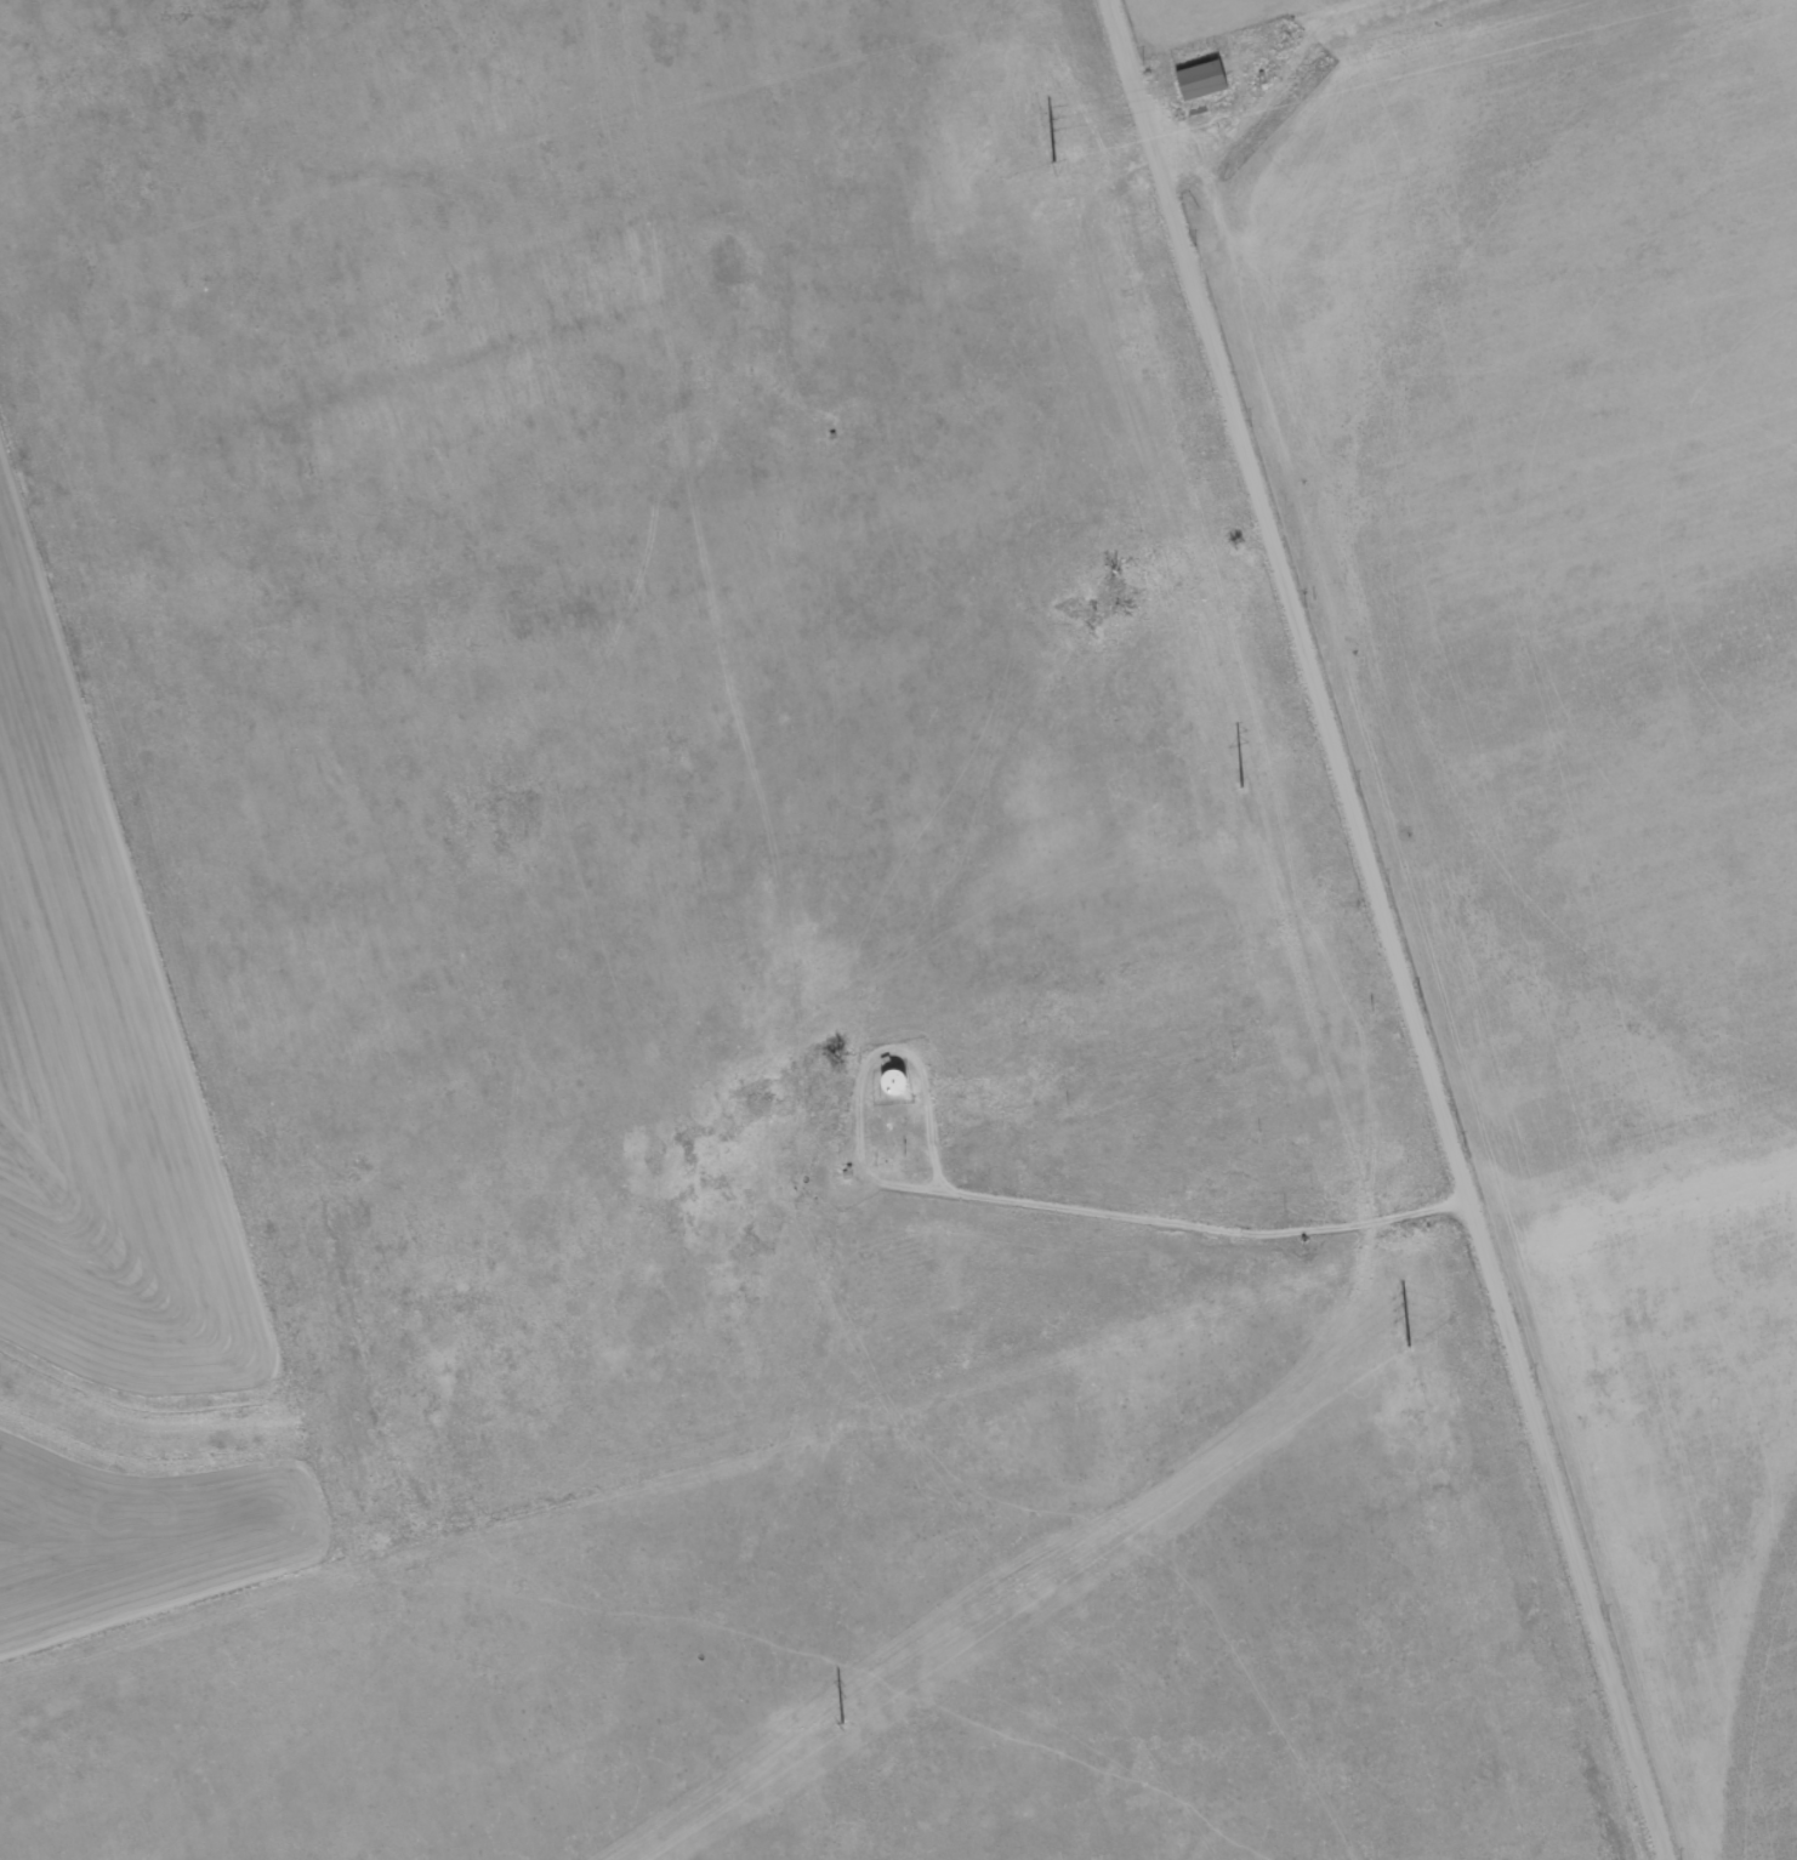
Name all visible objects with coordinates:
building: (1202, 84)
power tower: (1052, 158)
road: (1391, 929)
building: (894, 1085)
power tower: (1411, 1338)

